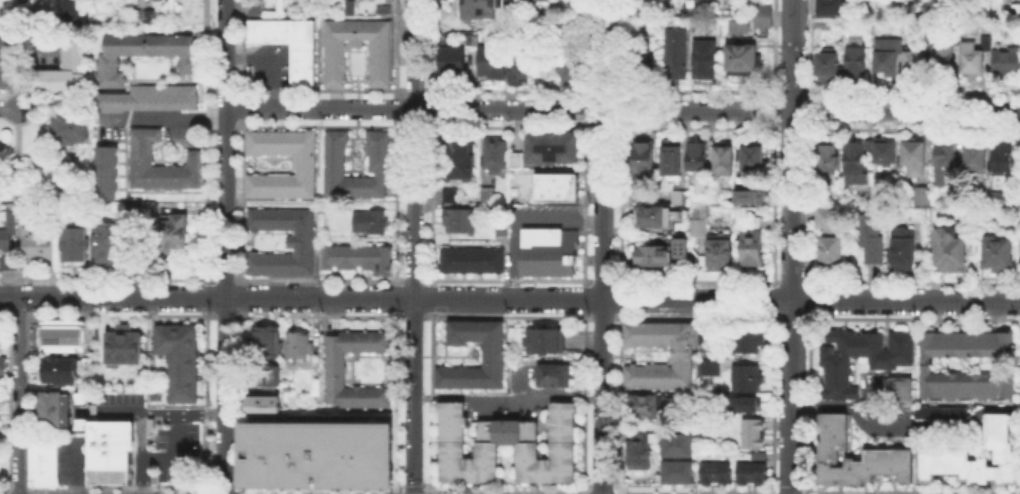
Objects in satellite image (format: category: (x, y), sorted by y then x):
building: (542, 1)
building: (836, 6)
building: (353, 9)
building: (483, 9)
building: (637, 10)
building: (387, 11)
building: (761, 14)
building: (72, 15)
building: (3, 16)
road: (36, 20)
building: (147, 20)
building: (709, 23)
building: (736, 25)
building: (638, 29)
road: (241, 48)
road: (429, 48)
road: (395, 49)
road: (584, 49)
road: (619, 49)
road: (772, 49)
road: (811, 49)
parking lot: (39, 53)
building: (144, 53)
road: (34, 55)
building: (971, 55)
building: (674, 56)
building: (890, 56)
building: (450, 59)
building: (743, 59)
building: (5, 60)
road: (238, 61)
building: (1006, 61)
building: (706, 62)
building: (494, 63)
building: (946, 64)
building: (920, 65)
parking lot: (272, 66)
building: (304, 66)
building: (523, 66)
building: (828, 66)
building: (856, 66)
road: (272, 67)
building: (337, 68)
building: (573, 68)
building: (67, 73)
road: (33, 79)
road: (31, 96)
road: (412, 96)
building: (150, 97)
road: (29, 98)
road: (275, 98)
road: (241, 106)
road: (8, 107)
road: (401, 108)
road: (423, 108)
road: (584, 108)
road: (619, 108)
road: (772, 108)
road: (811, 108)
road: (622, 109)
road: (17, 115)
road: (166, 118)
road: (8, 120)
road: (413, 120)
building: (67, 127)
road: (205, 142)
road: (413, 148)
road: (602, 149)
building: (869, 149)
building: (557, 150)
building: (380, 154)
building: (493, 155)
building: (886, 155)
building: (915, 155)
road: (17, 158)
building: (456, 158)
building: (698, 158)
building: (724, 159)
building: (753, 159)
building: (829, 159)
building: (855, 159)
building: (1003, 159)
building: (643, 160)
building: (978, 160)
building: (518, 161)
building: (673, 162)
building: (162, 165)
building: (306, 167)
building: (946, 167)
building: (109, 175)
building: (558, 189)
building: (448, 193)
road: (35, 194)
building: (642, 195)
building: (678, 196)
building: (923, 197)
building: (752, 199)
road: (241, 200)
road: (394, 200)
road: (810, 200)
road: (430, 201)
road: (619, 201)
road: (584, 202)
road: (772, 202)
building: (996, 202)
building: (147, 207)
building: (651, 215)
building: (456, 219)
building: (13, 221)
road: (519, 222)
building: (698, 222)
building: (372, 224)
building: (175, 235)
building: (298, 240)
building: (831, 240)
building: (6, 241)
building: (872, 242)
building: (108, 244)
building: (753, 244)
building: (39, 246)
road: (225, 246)
building: (679, 246)
building: (76, 247)
road: (792, 247)
building: (905, 251)
building: (718, 252)
building: (549, 254)
building: (650, 255)
building: (999, 255)
building: (469, 258)
building: (951, 258)
building: (361, 260)
building: (10, 263)
road: (107, 279)
road: (224, 279)
road: (318, 279)
road: (413, 279)
road: (506, 280)
road: (600, 280)
road: (8, 281)
road: (26, 281)
road: (694, 281)
road: (792, 281)
road: (913, 281)
road: (8, 296)
road: (26, 296)
road: (205, 296)
road: (240, 296)
road: (808, 296)
road: (206, 297)
road: (394, 297)
road: (431, 297)
road: (506, 298)
road: (619, 298)
road: (583, 299)
road: (771, 299)
road: (810, 300)
road: (6, 314)
road: (18, 314)
road: (119, 314)
road: (223, 315)
road: (317, 316)
road: (412, 316)
road: (506, 316)
road: (602, 317)
road: (695, 317)
road: (791, 318)
road: (912, 319)
building: (834, 337)
building: (65, 338)
building: (899, 339)
building: (850, 341)
building: (267, 342)
building: (747, 342)
building: (549, 343)
building: (862, 343)
building: (121, 346)
building: (301, 346)
building: (875, 349)
building: (831, 356)
building: (896, 357)
building: (683, 358)
building: (181, 359)
building: (493, 359)
building: (924, 364)
building: (89, 365)
road: (507, 365)
building: (706, 366)
building: (2, 367)
building: (835, 369)
building: (337, 371)
building: (63, 372)
building: (270, 376)
building: (555, 377)
building: (835, 379)
building: (748, 380)
parking lot: (870, 385)
building: (898, 388)
building: (836, 391)
road: (18, 395)
road: (412, 396)
road: (507, 396)
road: (602, 396)
road: (204, 399)
road: (7, 400)
road: (239, 401)
road: (837, 401)
road: (26, 402)
road: (394, 402)
road: (430, 402)
road: (619, 402)
road: (582, 403)
building: (743, 403)
road: (770, 403)
road: (807, 403)
building: (263, 404)
building: (648, 405)
building: (55, 409)
parking lot: (888, 411)
building: (940, 411)
road: (182, 412)
building: (998, 417)
building: (831, 418)
building: (150, 422)
building: (751, 424)
building: (832, 427)
building: (996, 428)
road: (906, 429)
road: (140, 433)
building: (507, 433)
building: (832, 435)
building: (996, 436)
building: (751, 439)
building: (676, 444)
building: (829, 444)
building: (998, 446)
building: (639, 447)
building: (109, 449)
building: (311, 450)
building: (756, 454)
building: (825, 456)
building: (1004, 457)
road: (171, 458)
building: (874, 460)
building: (883, 460)
building: (892, 460)
building: (944, 460)
building: (42, 462)
building: (866, 462)
building: (959, 462)
building: (927, 463)
building: (904, 464)
road: (74, 466)
building: (983, 469)
building: (845, 470)
building: (676, 471)
building: (706, 471)
building: (720, 471)
building: (742, 471)
building: (756, 471)
building: (857, 471)
building: (972, 471)
building: (819, 472)
building: (830, 472)
building: (1011, 472)
building: (998, 473)
building: (343, 477)
building: (374, 477)
building: (154, 478)
road: (313, 489)
road: (398, 489)
road: (411, 489)
road: (504, 489)
road: (693, 489)
road: (121, 490)
road: (224, 490)
road: (599, 490)
road: (6, 491)
road: (19, 491)
road: (7, 492)
road: (205, 492)
road: (788, 492)
road: (910, 492)
road: (239, 493)
road: (618, 493)

